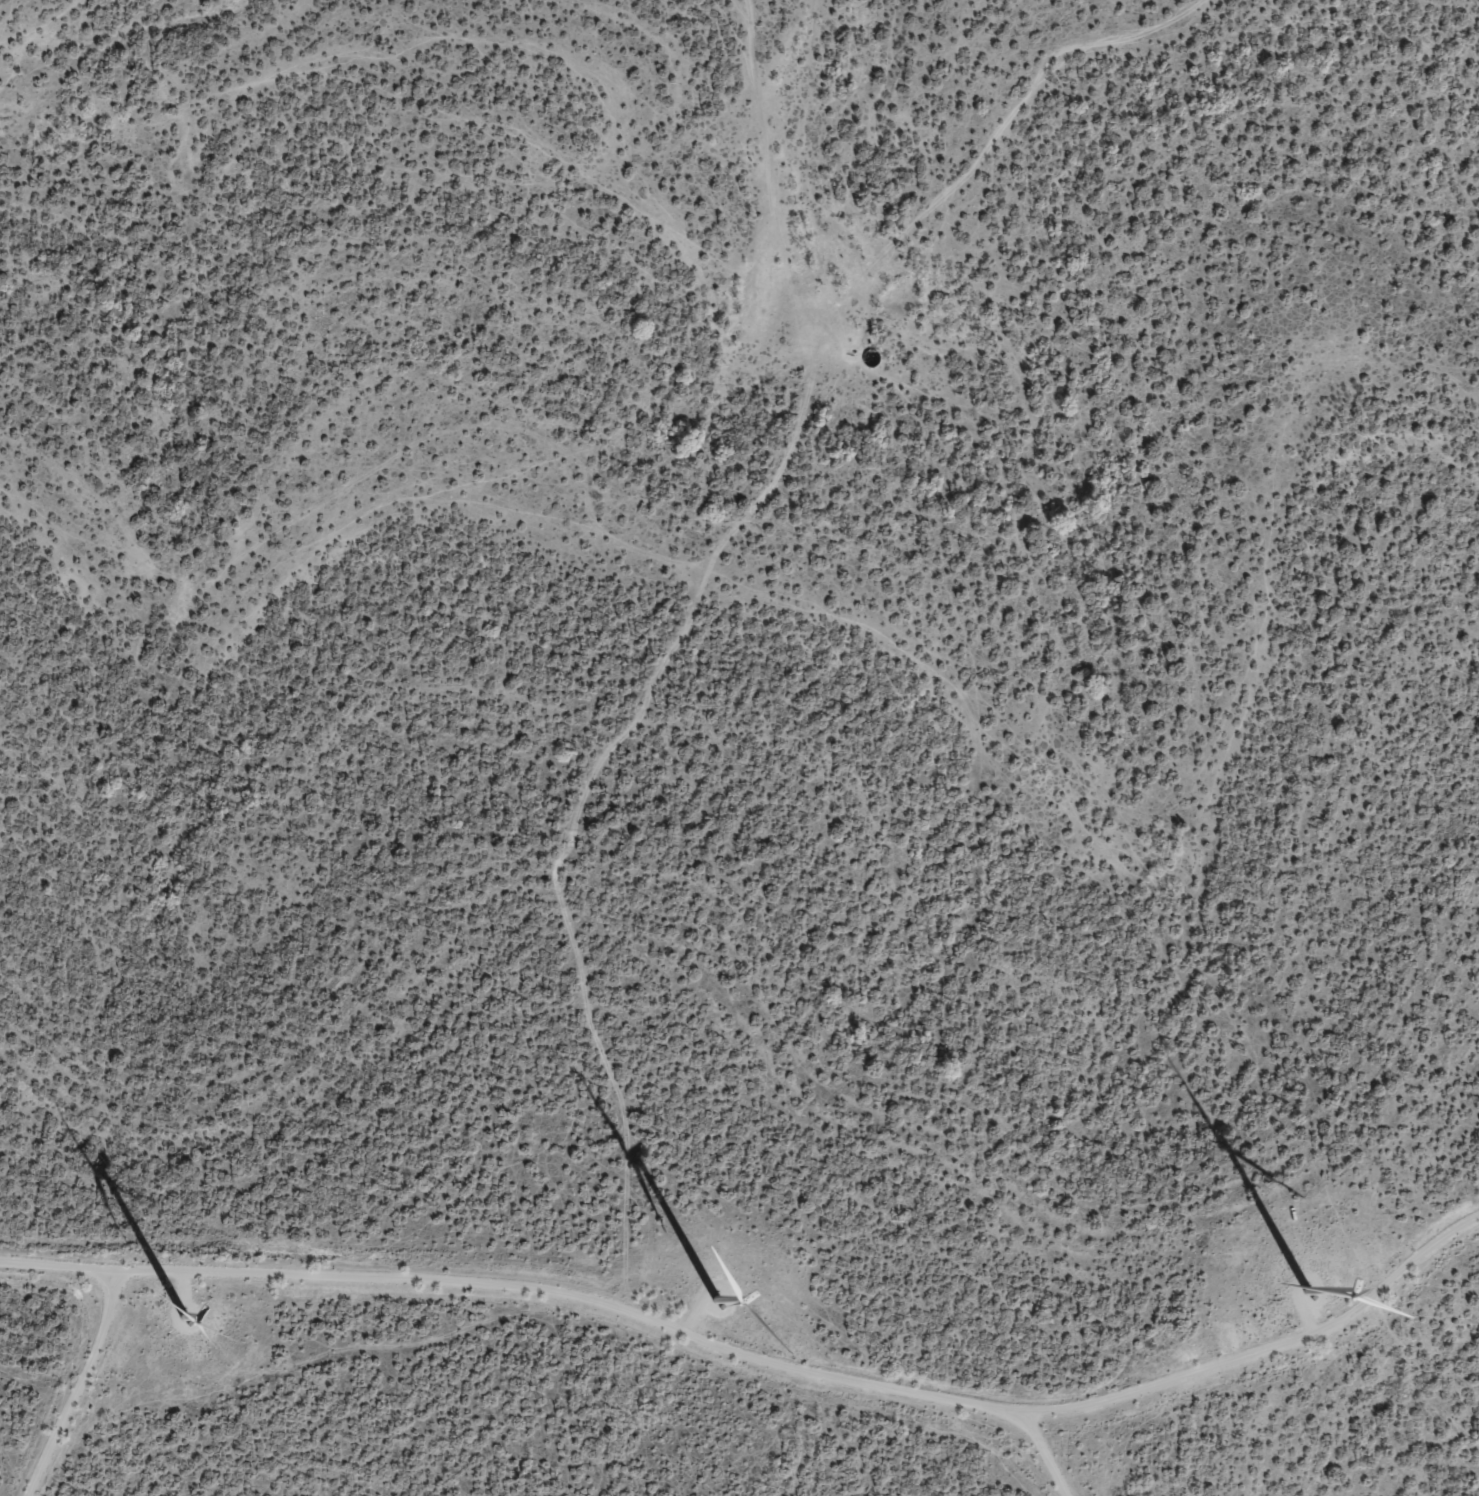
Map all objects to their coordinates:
road: (780, 166)
wind turbine: (1306, 1291)
wind turbine: (716, 1299)
wind turbine: (183, 1317)

